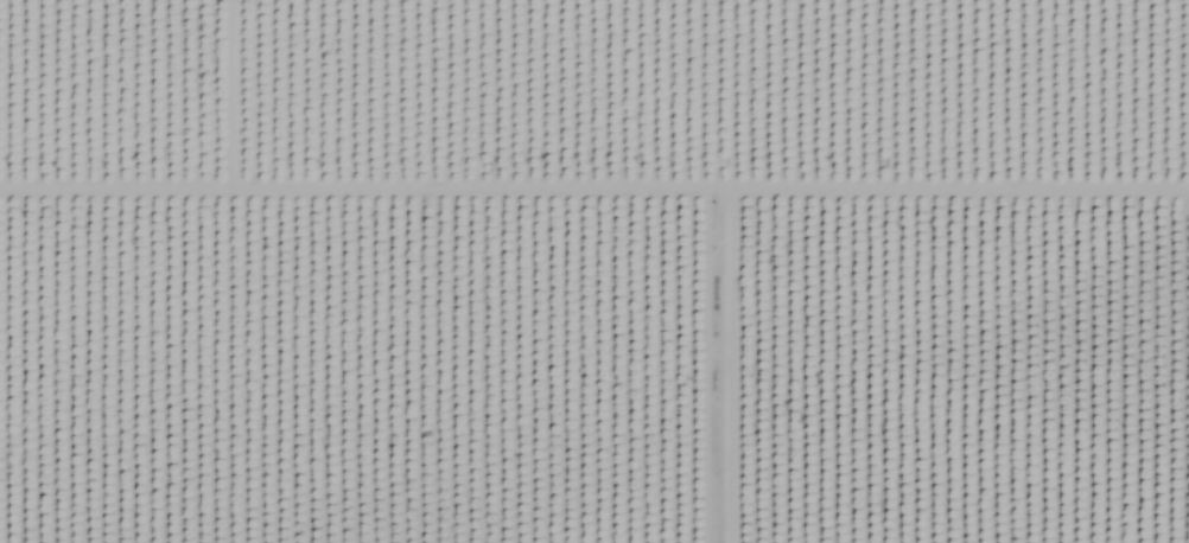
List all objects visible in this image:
crop: (594, 271)

